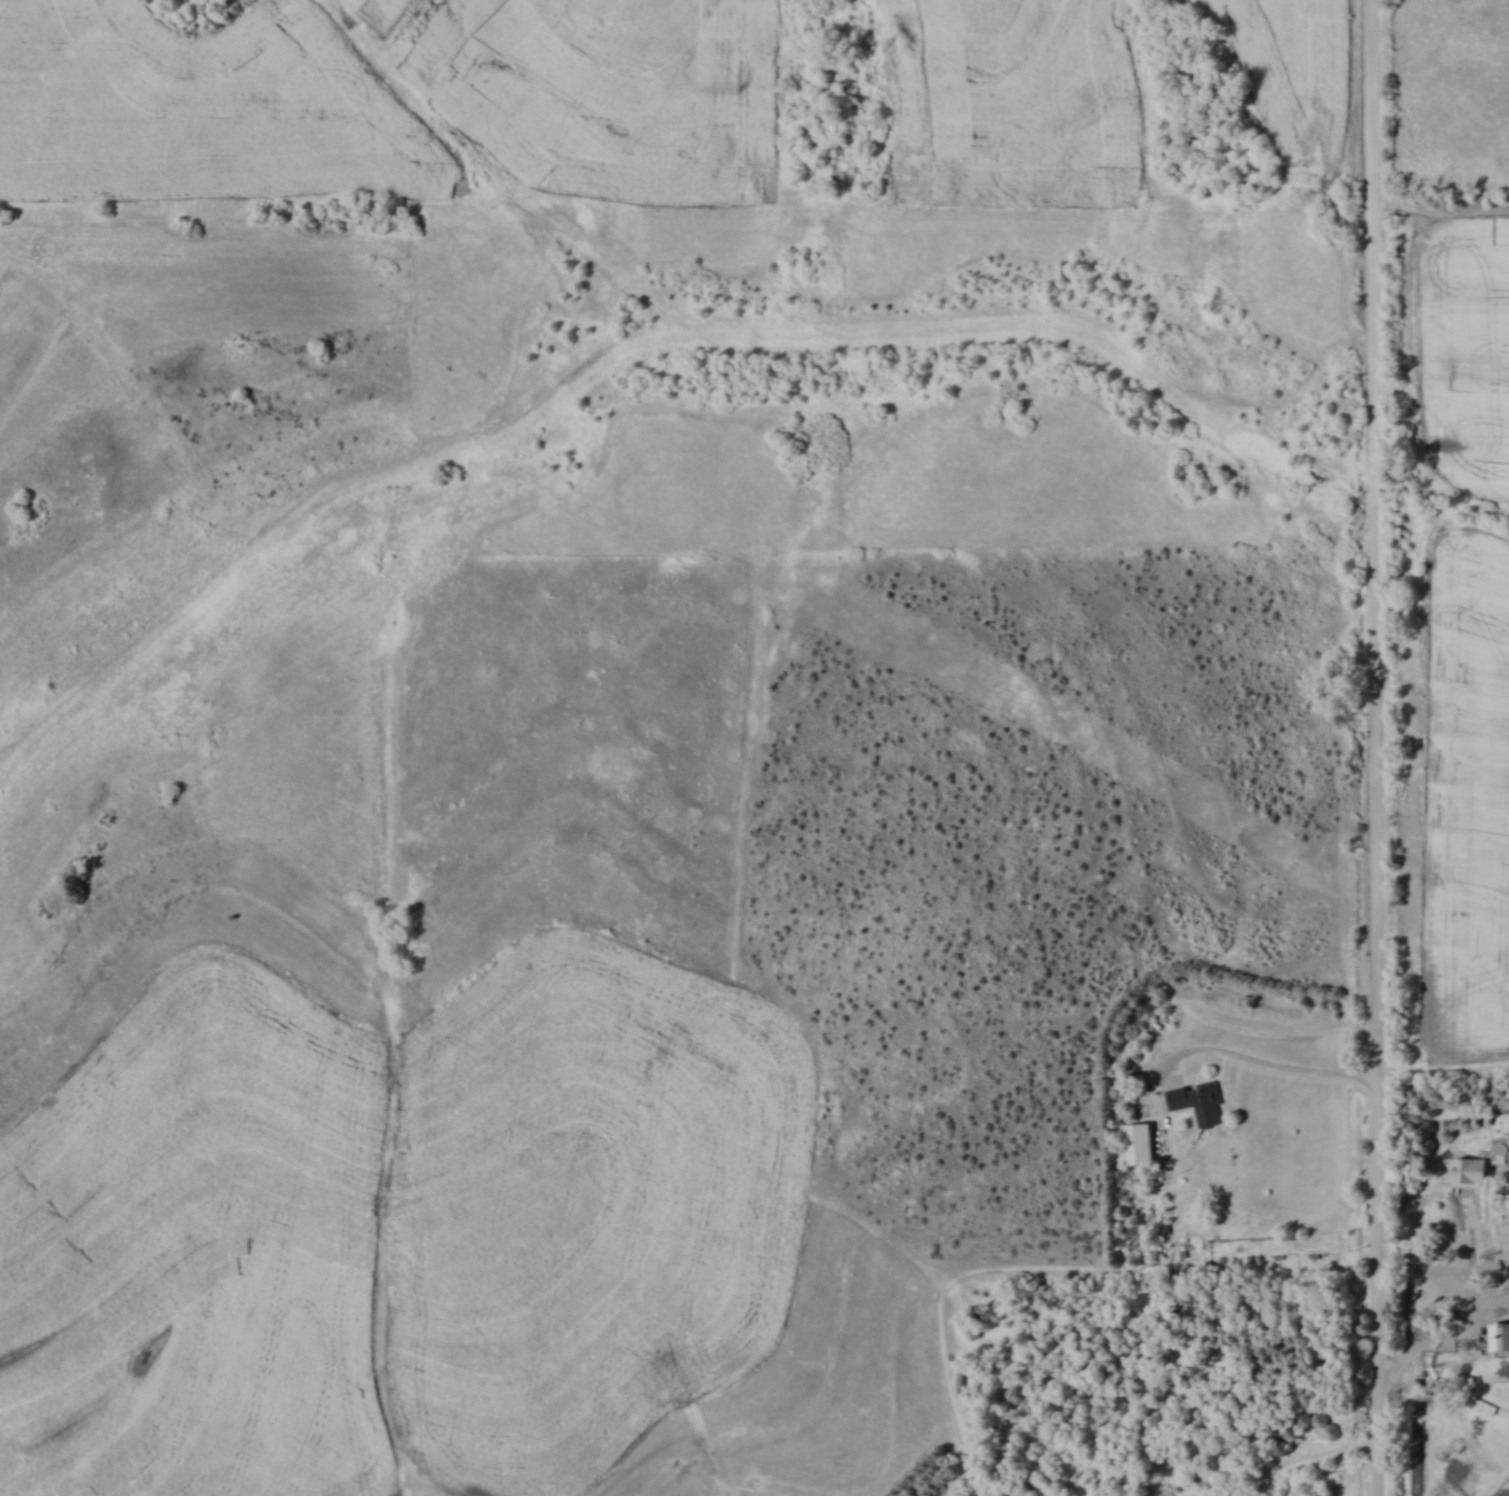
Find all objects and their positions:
road: (1377, 748)
road: (1270, 1064)
building: (1198, 1102)
building: (1138, 1143)
road: (1424, 1268)
road: (1470, 1284)
building: (1499, 1335)
building: (1317, 1422)
building: (1289, 1432)
building: (1279, 1447)
road: (1294, 1469)

